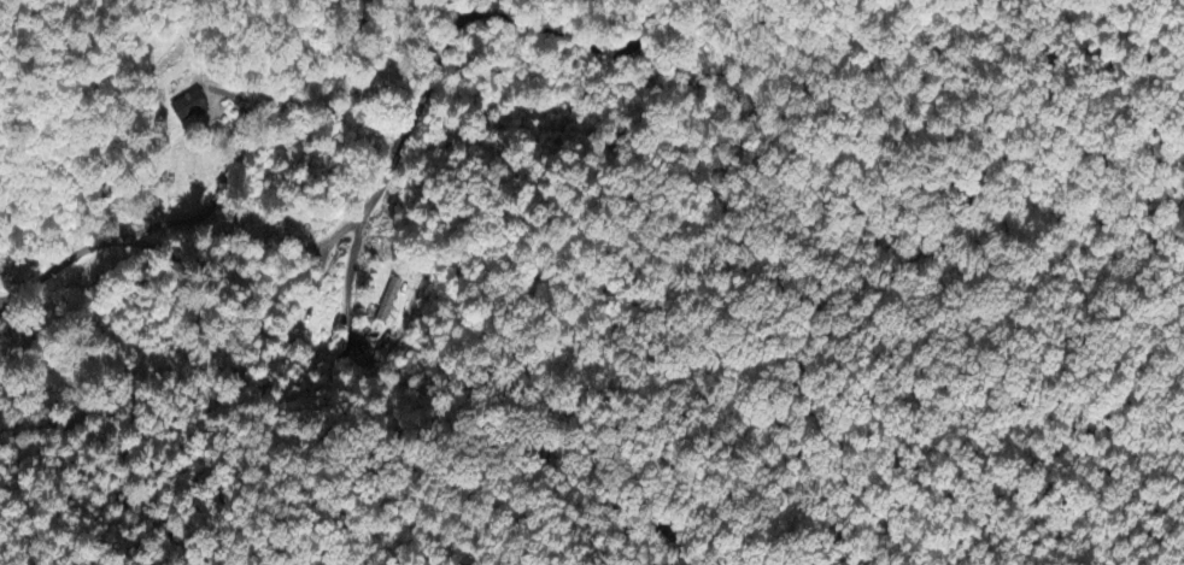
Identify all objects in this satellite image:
building: (188, 108)
road: (377, 193)

